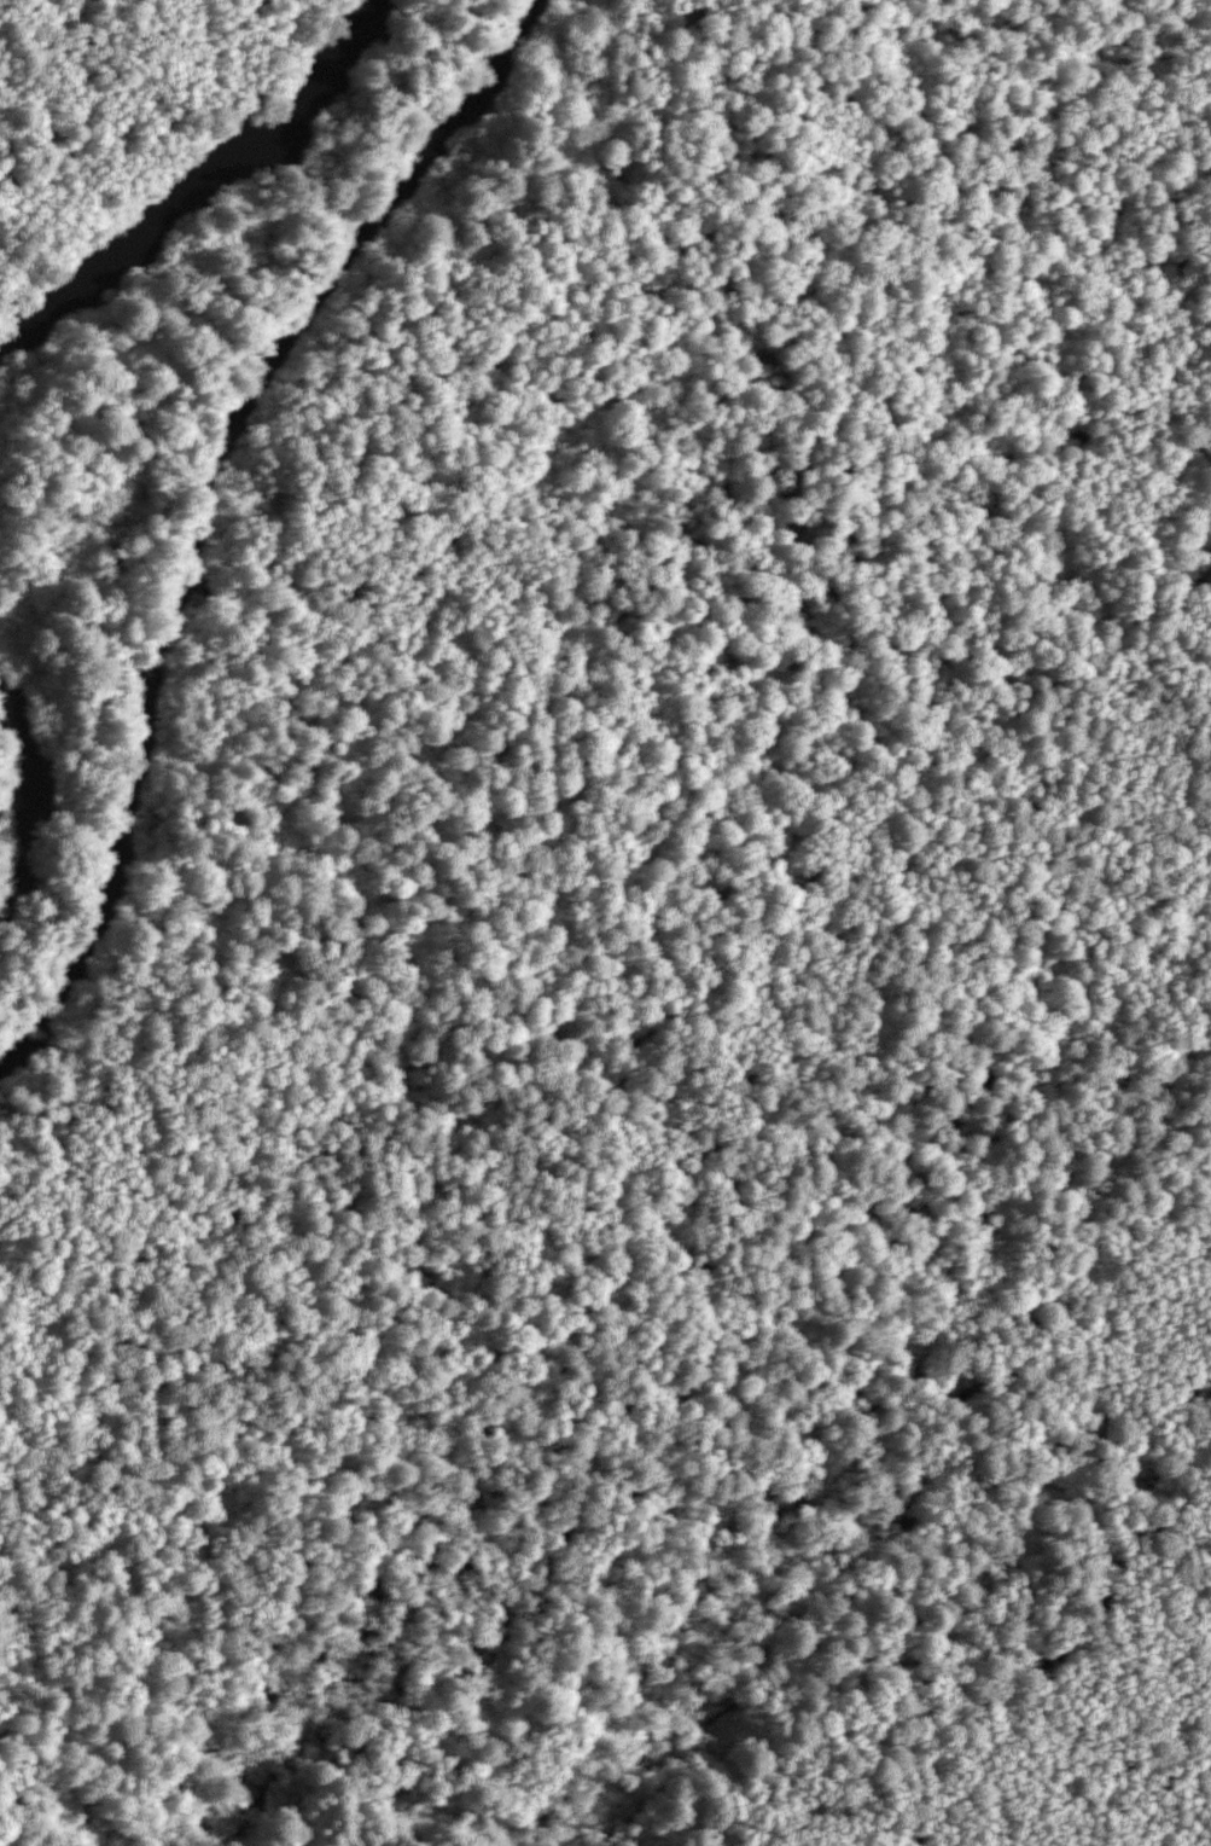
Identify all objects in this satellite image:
river: (192, 182)
river: (202, 493)
river: (16, 795)

